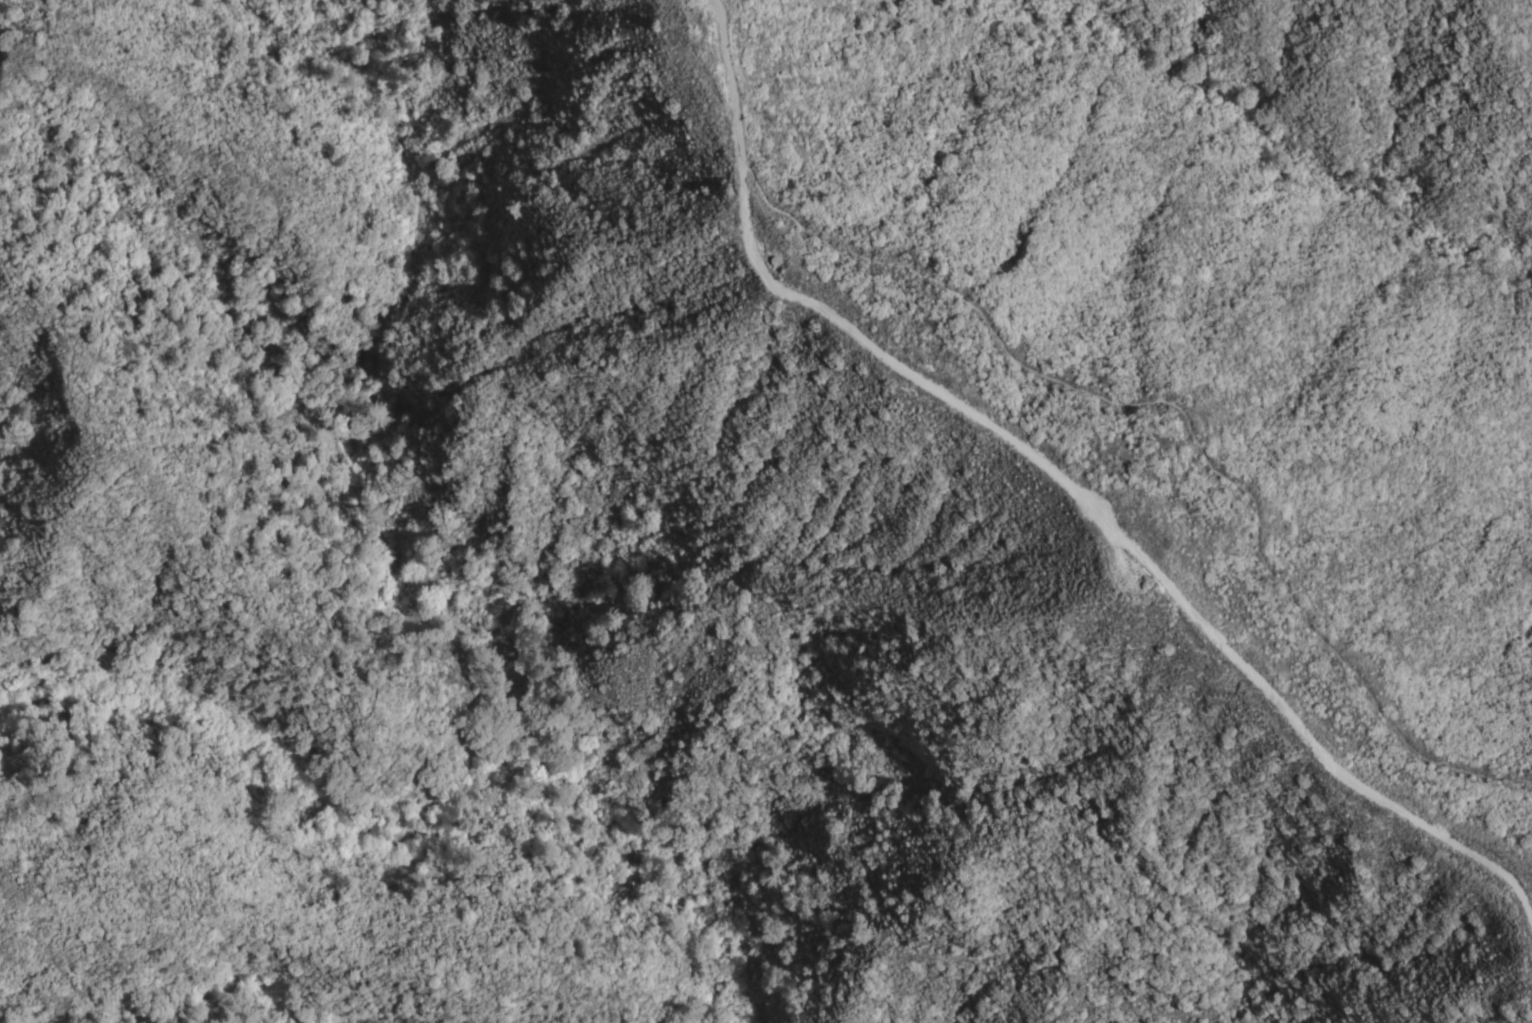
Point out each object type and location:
road: (1185, 433)
road: (1065, 488)
road: (502, 583)

